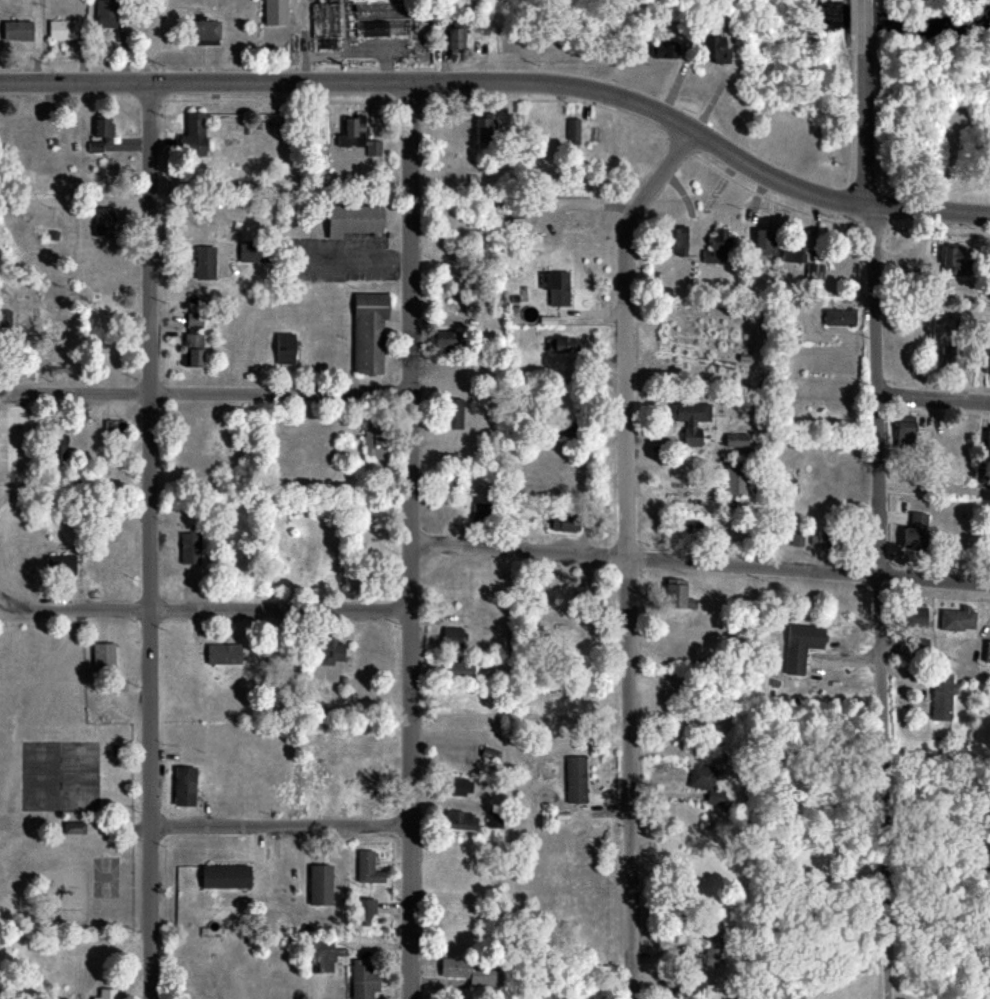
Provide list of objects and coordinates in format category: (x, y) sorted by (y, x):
road: (863, 24)
road: (508, 84)
road: (866, 128)
building: (486, 130)
building: (102, 132)
building: (353, 132)
building: (575, 132)
building: (193, 136)
building: (374, 149)
building: (353, 220)
building: (574, 222)
building: (104, 223)
building: (762, 238)
building: (676, 243)
building: (719, 247)
building: (954, 256)
building: (205, 264)
building: (987, 266)
building: (816, 272)
building: (559, 289)
building: (840, 318)
building: (5, 320)
building: (369, 332)
building: (193, 341)
building: (445, 343)
building: (560, 346)
building: (285, 349)
building: (953, 362)
building: (988, 363)
road: (204, 393)
road: (934, 398)
building: (452, 414)
building: (691, 421)
building: (119, 428)
building: (905, 433)
building: (989, 439)
building: (372, 441)
building: (736, 441)
building: (79, 474)
building: (736, 478)
building: (484, 515)
building: (563, 523)
building: (916, 533)
building: (798, 538)
building: (828, 539)
road: (151, 541)
road: (410, 541)
building: (989, 542)
building: (191, 549)
road: (626, 556)
road: (700, 563)
building: (60, 565)
building: (675, 594)
road: (880, 603)
road: (205, 611)
building: (913, 616)
building: (958, 619)
building: (453, 637)
building: (801, 647)
building: (920, 648)
building: (330, 652)
building: (224, 654)
building: (989, 654)
building: (104, 660)
building: (704, 666)
building: (460, 672)
building: (674, 688)
building: (942, 698)
building: (458, 702)
building: (560, 706)
building: (456, 760)
road: (512, 774)
building: (576, 781)
building: (706, 784)
building: (185, 787)
building: (454, 787)
park: (62, 791)
building: (495, 819)
building: (461, 822)
road: (281, 828)
building: (75, 829)
building: (368, 868)
building: (226, 878)
building: (320, 885)
building: (365, 913)
building: (714, 939)
building: (325, 955)
building: (472, 973)
building: (364, 981)
building: (690, 988)
building: (105, 994)

